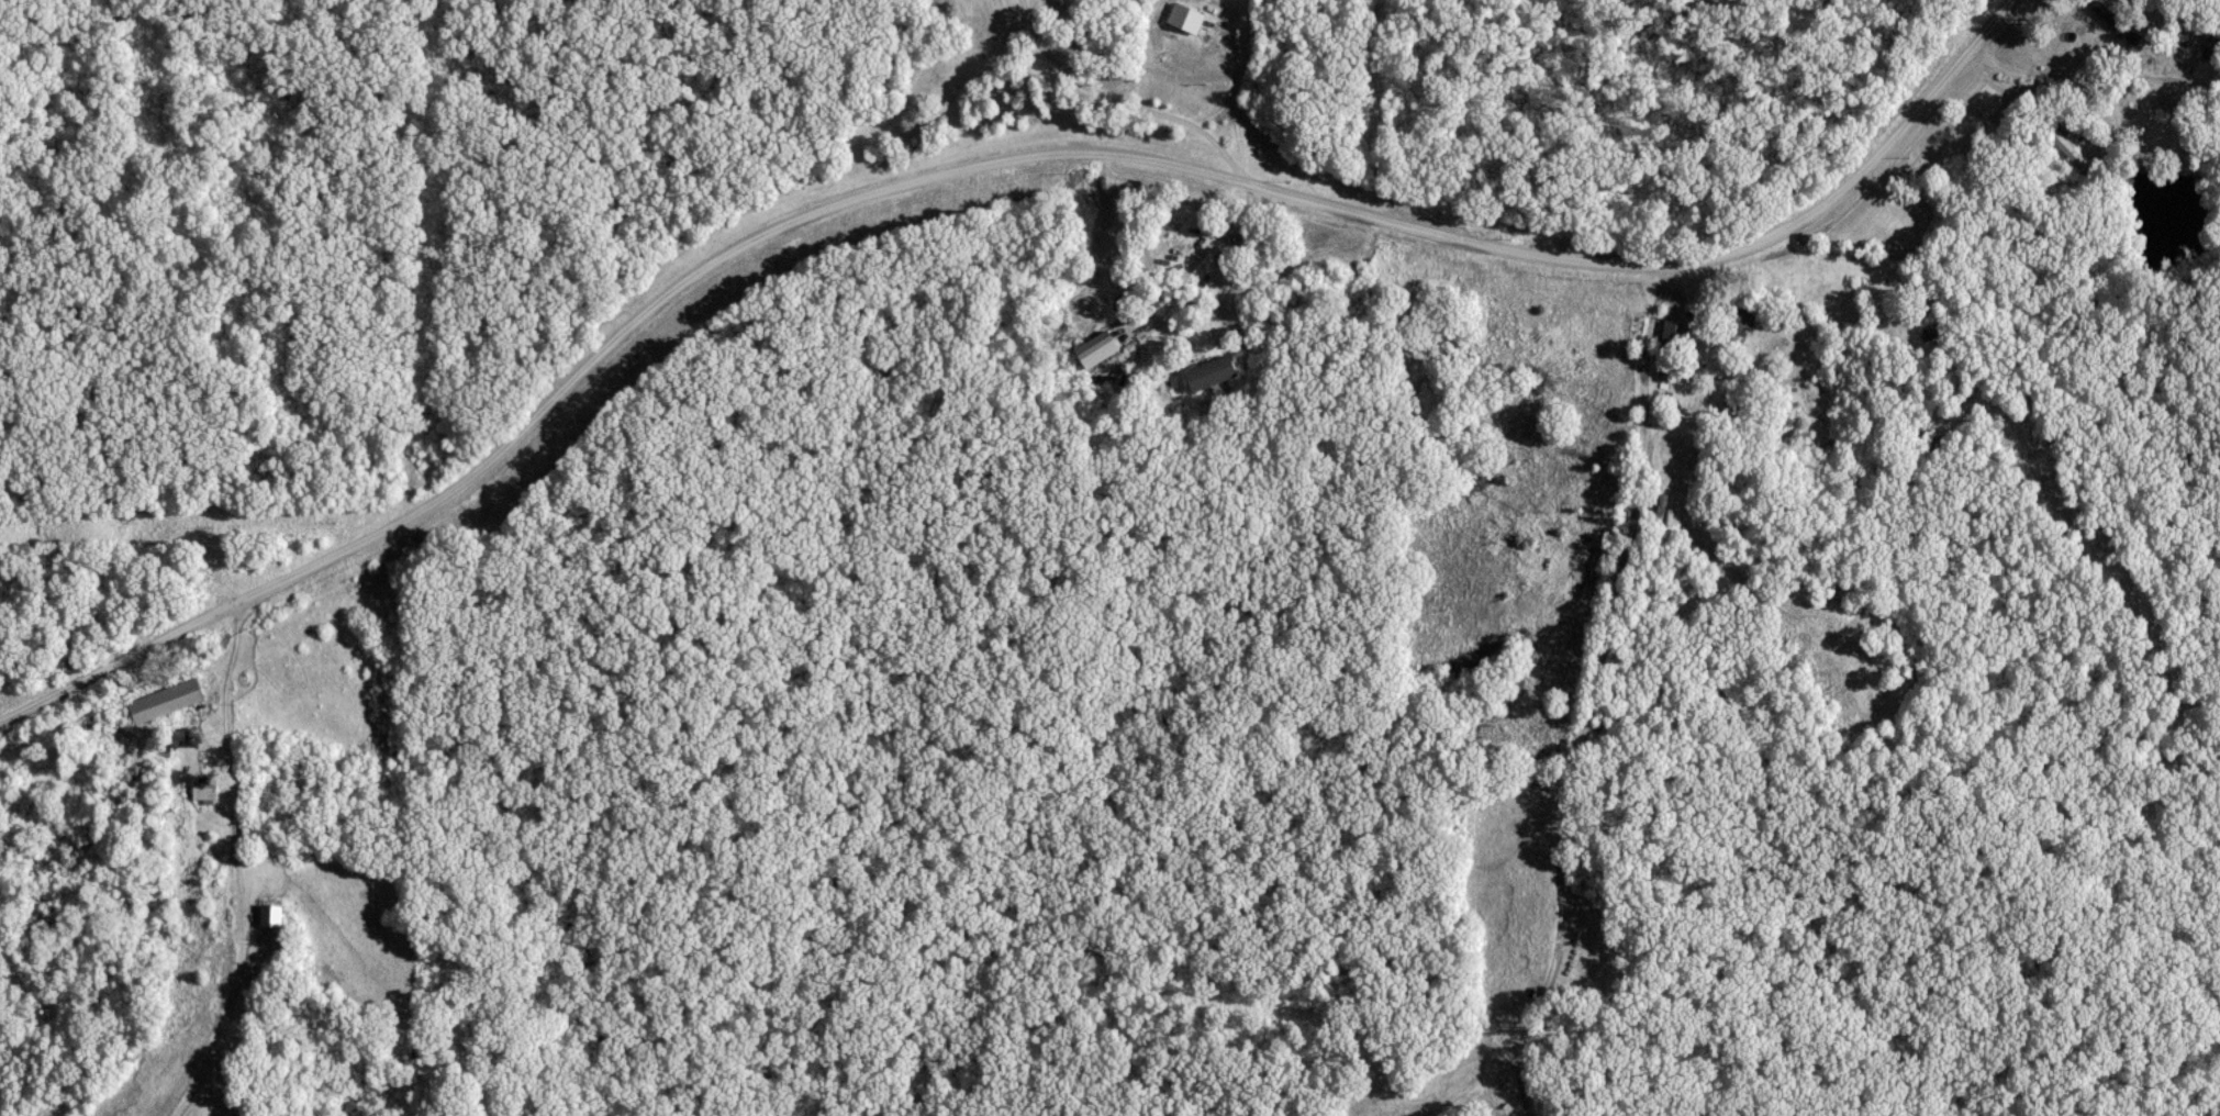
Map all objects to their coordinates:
building: (1185, 18)
building: (2071, 152)
road: (985, 164)
building: (1103, 309)
building: (1672, 333)
building: (1103, 348)
building: (1211, 375)
building: (168, 701)
building: (207, 792)
building: (274, 916)

